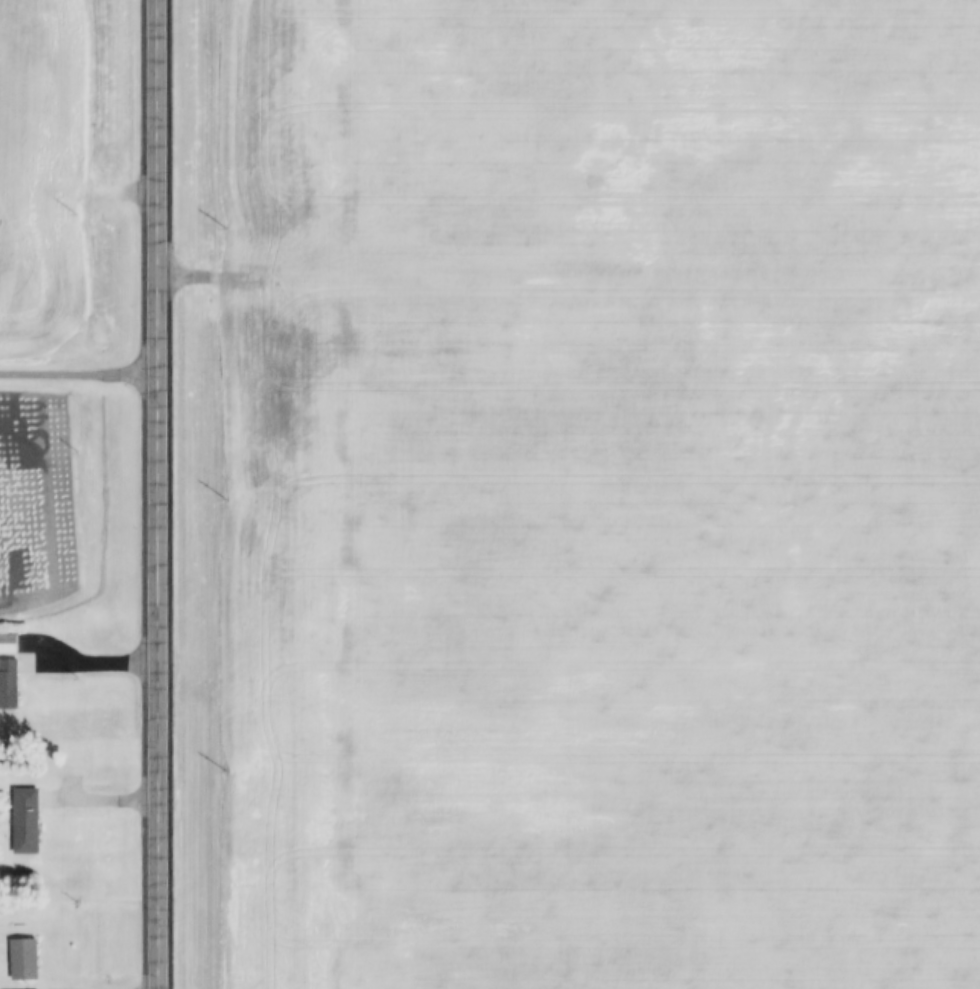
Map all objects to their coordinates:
road: (78, 369)
road: (156, 494)
building: (8, 643)
road: (86, 664)
building: (9, 684)
road: (98, 802)
building: (26, 821)
building: (24, 960)

